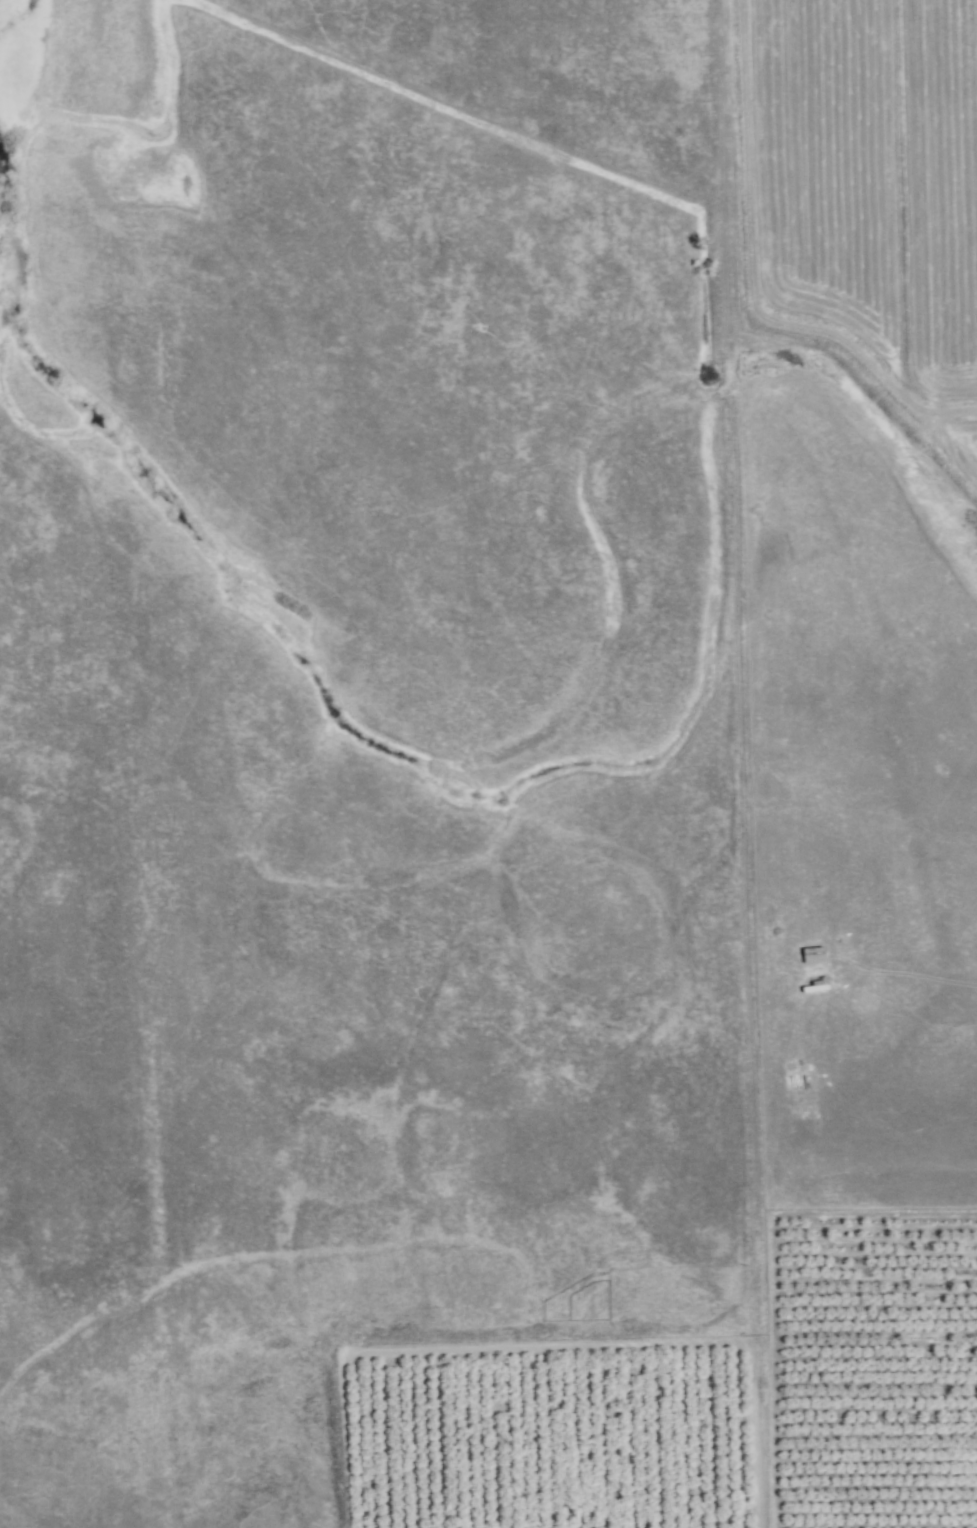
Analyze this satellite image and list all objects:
building: (811, 956)

